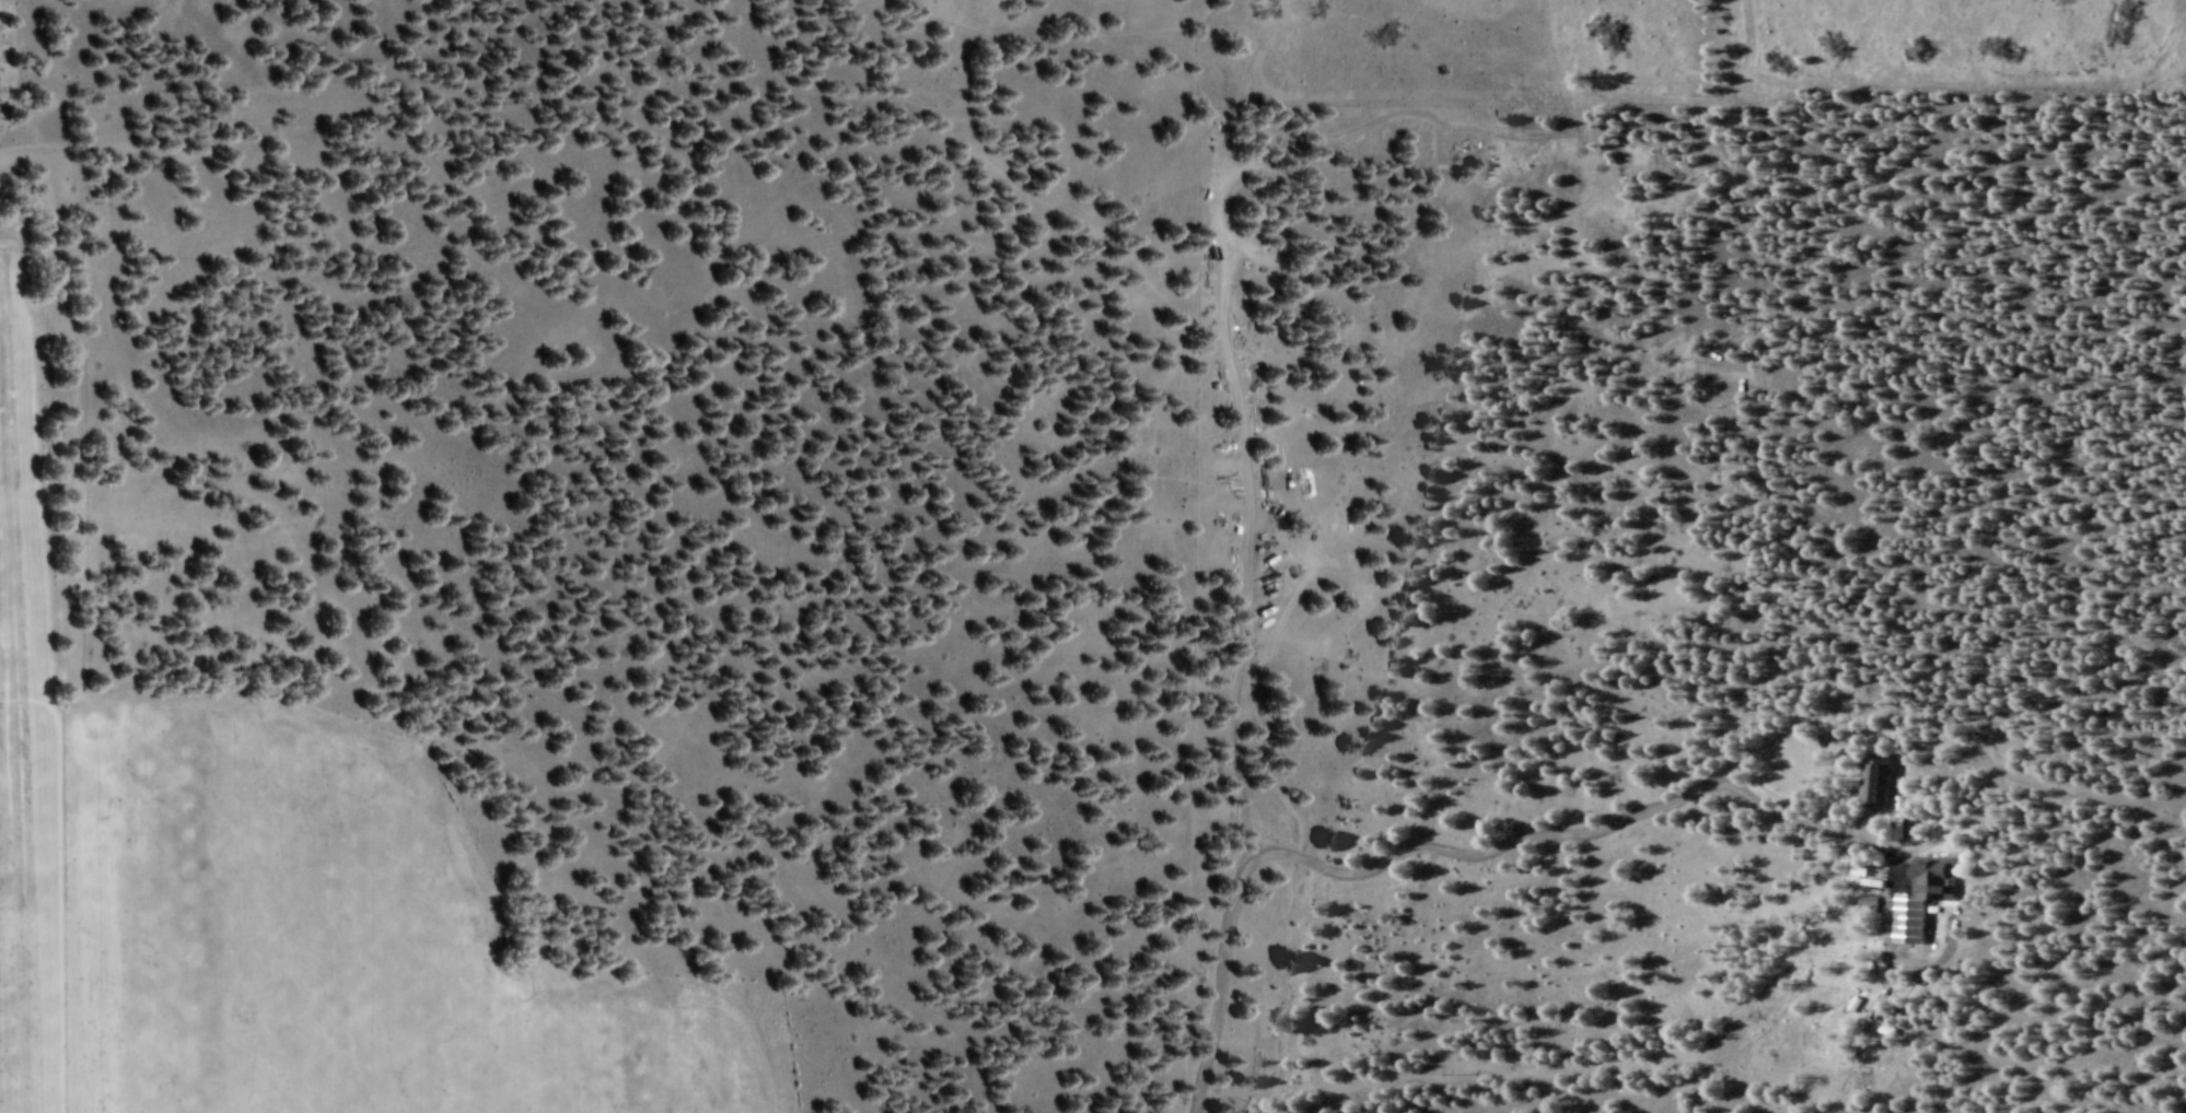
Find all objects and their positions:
building: (1876, 780)
building: (1922, 899)

